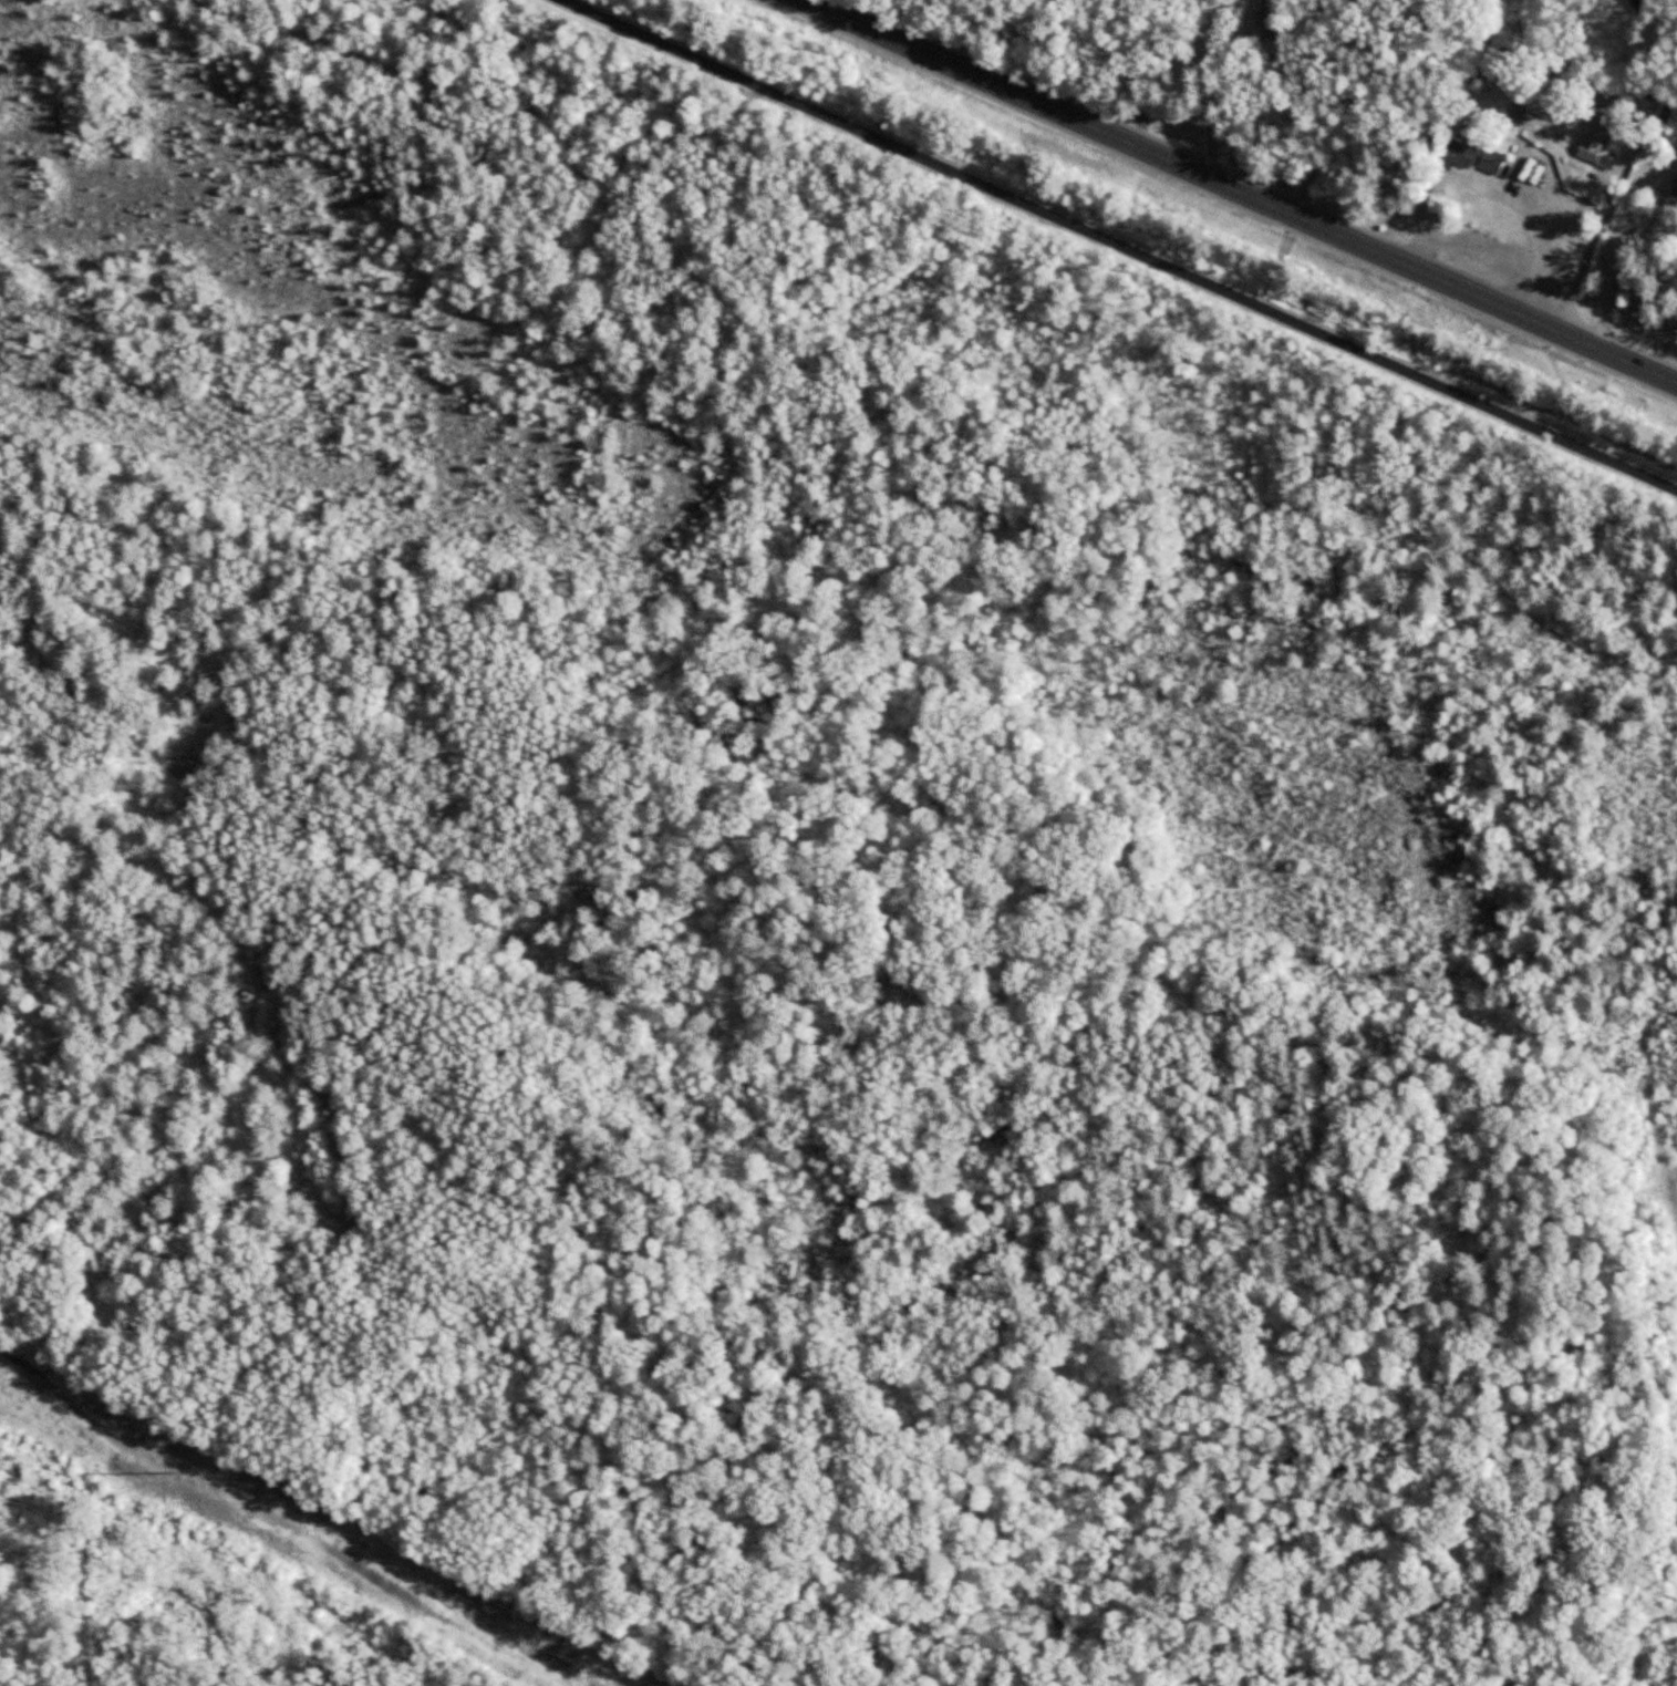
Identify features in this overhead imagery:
building: (1639, 3)
road: (1213, 90)
road: (508, 106)
building: (1602, 134)
building: (1468, 152)
building: (1539, 172)
road: (415, 177)
building: (1675, 189)
road: (1241, 194)
road: (1118, 246)
road: (1585, 260)
power tower: (174, 1467)
power tower: (594, 1685)

